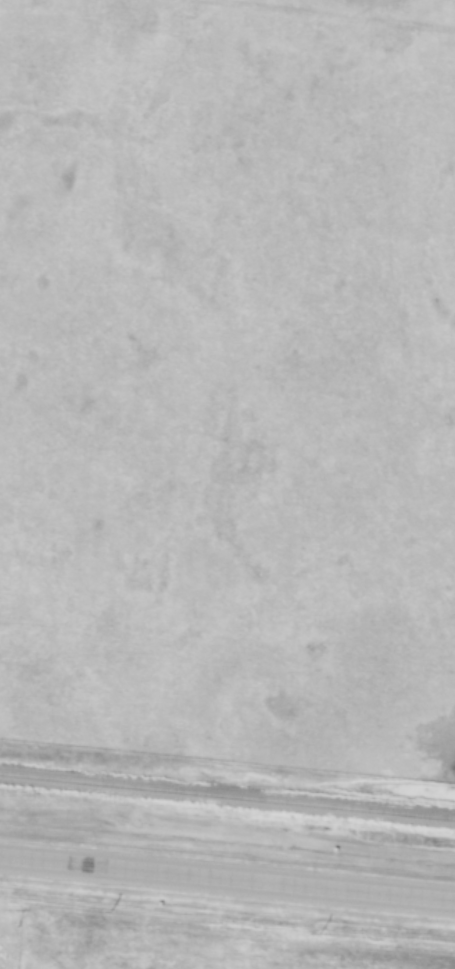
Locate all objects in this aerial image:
railway: (227, 796)
road: (227, 875)

